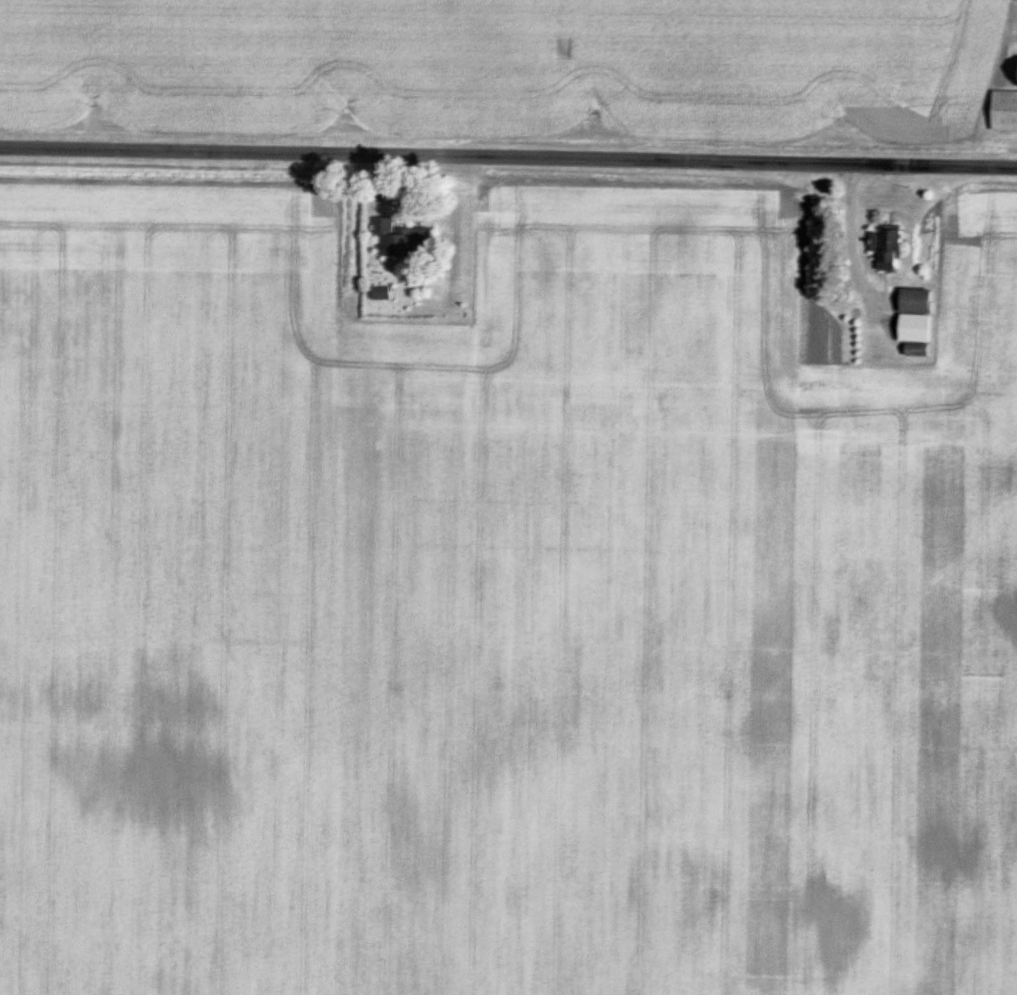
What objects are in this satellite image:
building: (1014, 74)
building: (1002, 111)
road: (508, 158)
building: (405, 240)
building: (882, 250)
building: (384, 294)
building: (913, 316)

